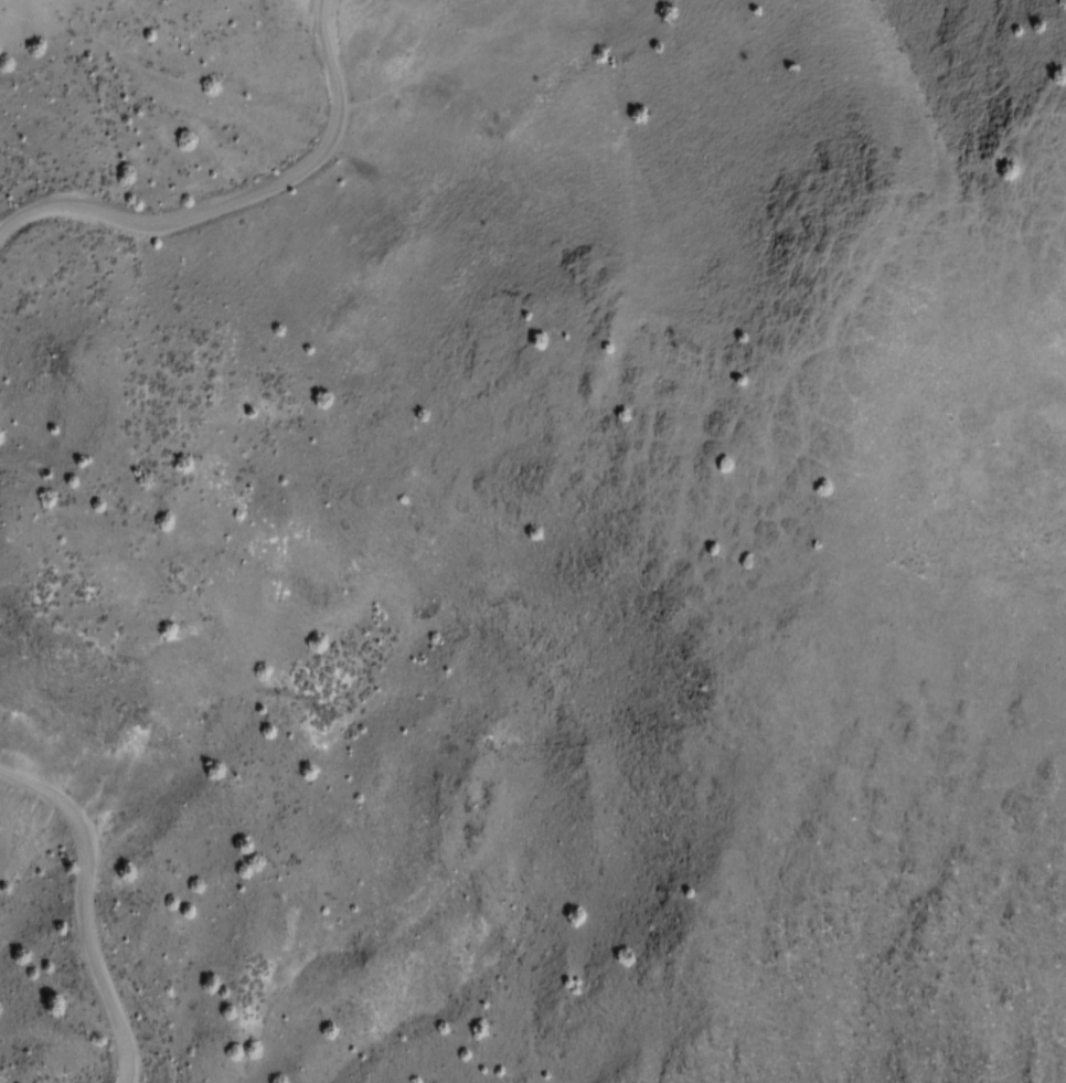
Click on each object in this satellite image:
road: (238, 197)
road: (86, 907)

